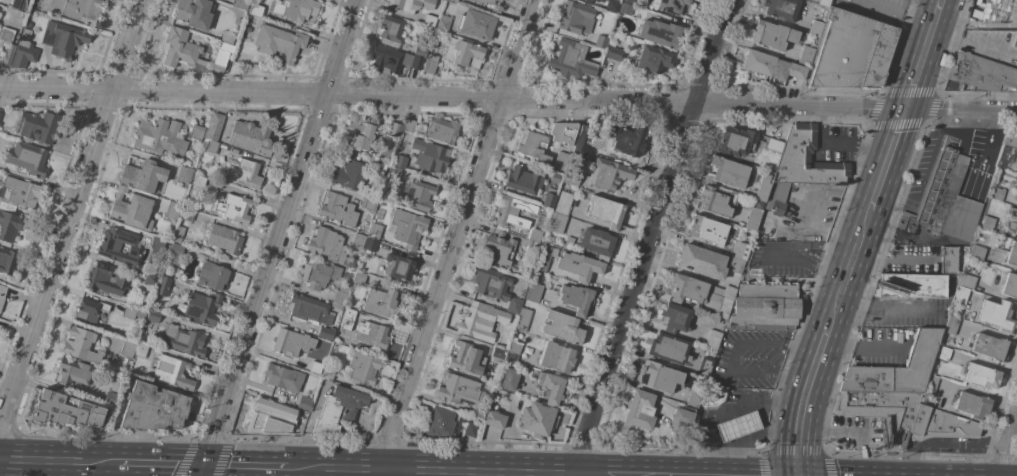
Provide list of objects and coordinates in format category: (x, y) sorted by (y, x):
building: (499, 0)
building: (598, 0)
building: (453, 1)
building: (483, 1)
building: (587, 2)
building: (631, 2)
building: (824, 2)
building: (241, 3)
building: (18, 4)
building: (412, 5)
building: (668, 5)
building: (613, 6)
building: (296, 9)
building: (625, 9)
building: (782, 9)
building: (82, 10)
building: (256, 10)
road: (897, 11)
building: (191, 12)
building: (992, 13)
building: (572, 17)
building: (429, 20)
building: (238, 22)
building: (248, 23)
building: (444, 24)
building: (476, 24)
building: (815, 27)
building: (391, 28)
building: (247, 29)
building: (660, 33)
building: (7, 34)
building: (773, 35)
building: (228, 37)
building: (596, 37)
building: (63, 39)
building: (1015, 40)
building: (279, 42)
building: (421, 49)
building: (24, 50)
building: (852, 51)
building: (191, 52)
building: (614, 53)
road: (924, 53)
building: (9, 54)
building: (463, 54)
building: (806, 55)
building: (571, 59)
building: (654, 59)
building: (393, 60)
building: (759, 62)
building: (431, 63)
building: (796, 71)
building: (983, 72)
road: (508, 95)
traffic signals: (907, 108)
building: (0, 111)
building: (39, 126)
building: (214, 126)
building: (434, 128)
building: (394, 129)
building: (196, 132)
building: (563, 132)
building: (359, 135)
building: (160, 136)
building: (250, 137)
building: (583, 139)
building: (628, 140)
building: (1011, 140)
building: (736, 142)
parking lot: (836, 144)
building: (209, 145)
building: (773, 145)
building: (533, 146)
building: (430, 156)
road: (832, 157)
building: (27, 158)
building: (1007, 158)
building: (560, 160)
building: (400, 161)
building: (806, 161)
road: (889, 162)
building: (381, 169)
building: (727, 172)
building: (244, 173)
building: (394, 173)
building: (185, 174)
building: (609, 174)
building: (143, 175)
building: (353, 175)
building: (554, 177)
building: (572, 178)
building: (524, 180)
building: (199, 181)
building: (1016, 183)
building: (763, 189)
building: (19, 193)
building: (997, 194)
building: (419, 195)
building: (1016, 197)
building: (548, 200)
building: (944, 200)
building: (716, 201)
building: (563, 203)
building: (368, 204)
building: (778, 204)
building: (235, 208)
building: (132, 209)
building: (338, 209)
road: (71, 210)
building: (172, 210)
building: (513, 211)
building: (606, 211)
building: (1012, 211)
building: (187, 214)
building: (753, 219)
building: (987, 222)
building: (556, 223)
building: (9, 226)
building: (407, 228)
building: (374, 230)
building: (707, 230)
building: (1016, 233)
building: (178, 234)
building: (535, 235)
road: (277, 237)
road: (452, 238)
road: (649, 238)
building: (224, 239)
building: (358, 239)
building: (569, 241)
building: (597, 242)
building: (327, 244)
building: (370, 244)
building: (118, 245)
road: (829, 246)
building: (532, 248)
building: (156, 249)
building: (498, 249)
building: (742, 250)
building: (977, 252)
road: (767, 253)
building: (175, 254)
building: (1012, 255)
building: (545, 257)
building: (948, 259)
building: (7, 261)
building: (349, 261)
building: (701, 261)
building: (400, 265)
building: (735, 265)
building: (580, 266)
road: (824, 269)
building: (317, 273)
road: (850, 273)
building: (212, 276)
building: (359, 278)
building: (105, 279)
building: (151, 280)
building: (966, 280)
building: (492, 283)
building: (163, 285)
building: (1010, 285)
building: (911, 287)
building: (533, 292)
building: (702, 293)
building: (341, 294)
building: (2, 295)
building: (961, 295)
building: (143, 298)
building: (577, 298)
building: (381, 301)
building: (514, 305)
building: (202, 307)
building: (765, 307)
road: (885, 308)
building: (309, 309)
building: (90, 310)
building: (134, 312)
building: (349, 314)
building: (996, 315)
building: (153, 316)
building: (675, 318)
building: (523, 320)
building: (482, 321)
building: (951, 325)
building: (562, 327)
building: (325, 332)
building: (373, 335)
building: (713, 339)
building: (184, 340)
building: (81, 345)
road: (864, 345)
road: (801, 346)
building: (991, 347)
building: (127, 348)
building: (298, 348)
building: (668, 348)
building: (141, 350)
building: (513, 350)
building: (527, 350)
building: (943, 352)
building: (497, 355)
building: (556, 357)
building: (467, 359)
road: (732, 359)
parking lot: (751, 360)
building: (704, 367)
building: (362, 368)
building: (897, 369)
building: (73, 372)
building: (173, 372)
building: (328, 373)
building: (981, 375)
building: (284, 377)
building: (662, 377)
building: (507, 379)
road: (794, 379)
building: (931, 383)
building: (551, 387)
building: (461, 390)
road: (4, 394)
building: (695, 396)
building: (714, 397)
building: (110, 398)
road: (806, 401)
building: (305, 402)
building: (972, 404)
building: (153, 408)
building: (65, 409)
building: (338, 409)
building: (640, 409)
road: (728, 410)
building: (478, 412)
building: (883, 412)
building: (269, 417)
building: (682, 417)
road: (762, 418)
building: (495, 419)
building: (537, 419)
building: (440, 422)
building: (940, 425)
building: (738, 426)
building: (471, 429)
road: (754, 435)
road: (1008, 451)
road: (58, 460)
road: (161, 464)
traffic signals: (205, 466)
road: (246, 467)
road: (412, 472)

